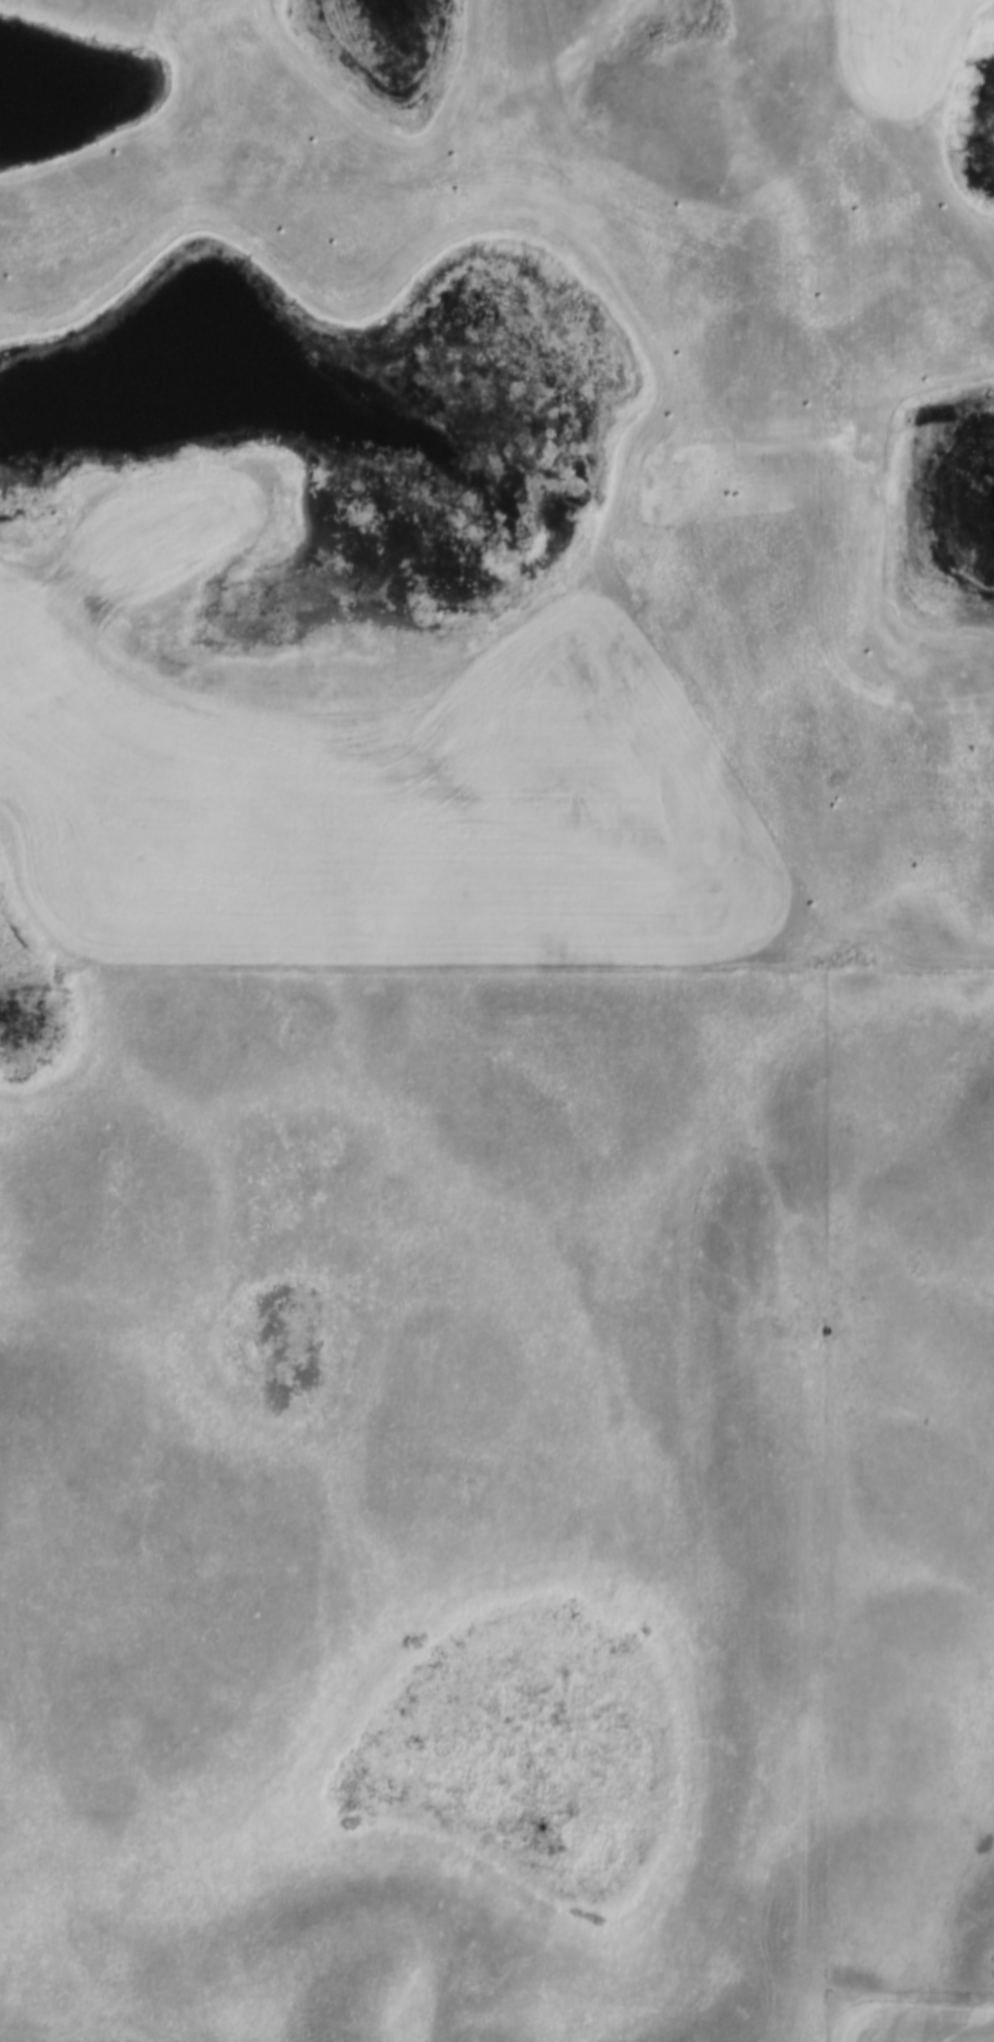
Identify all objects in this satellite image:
building: (29, 1917)

